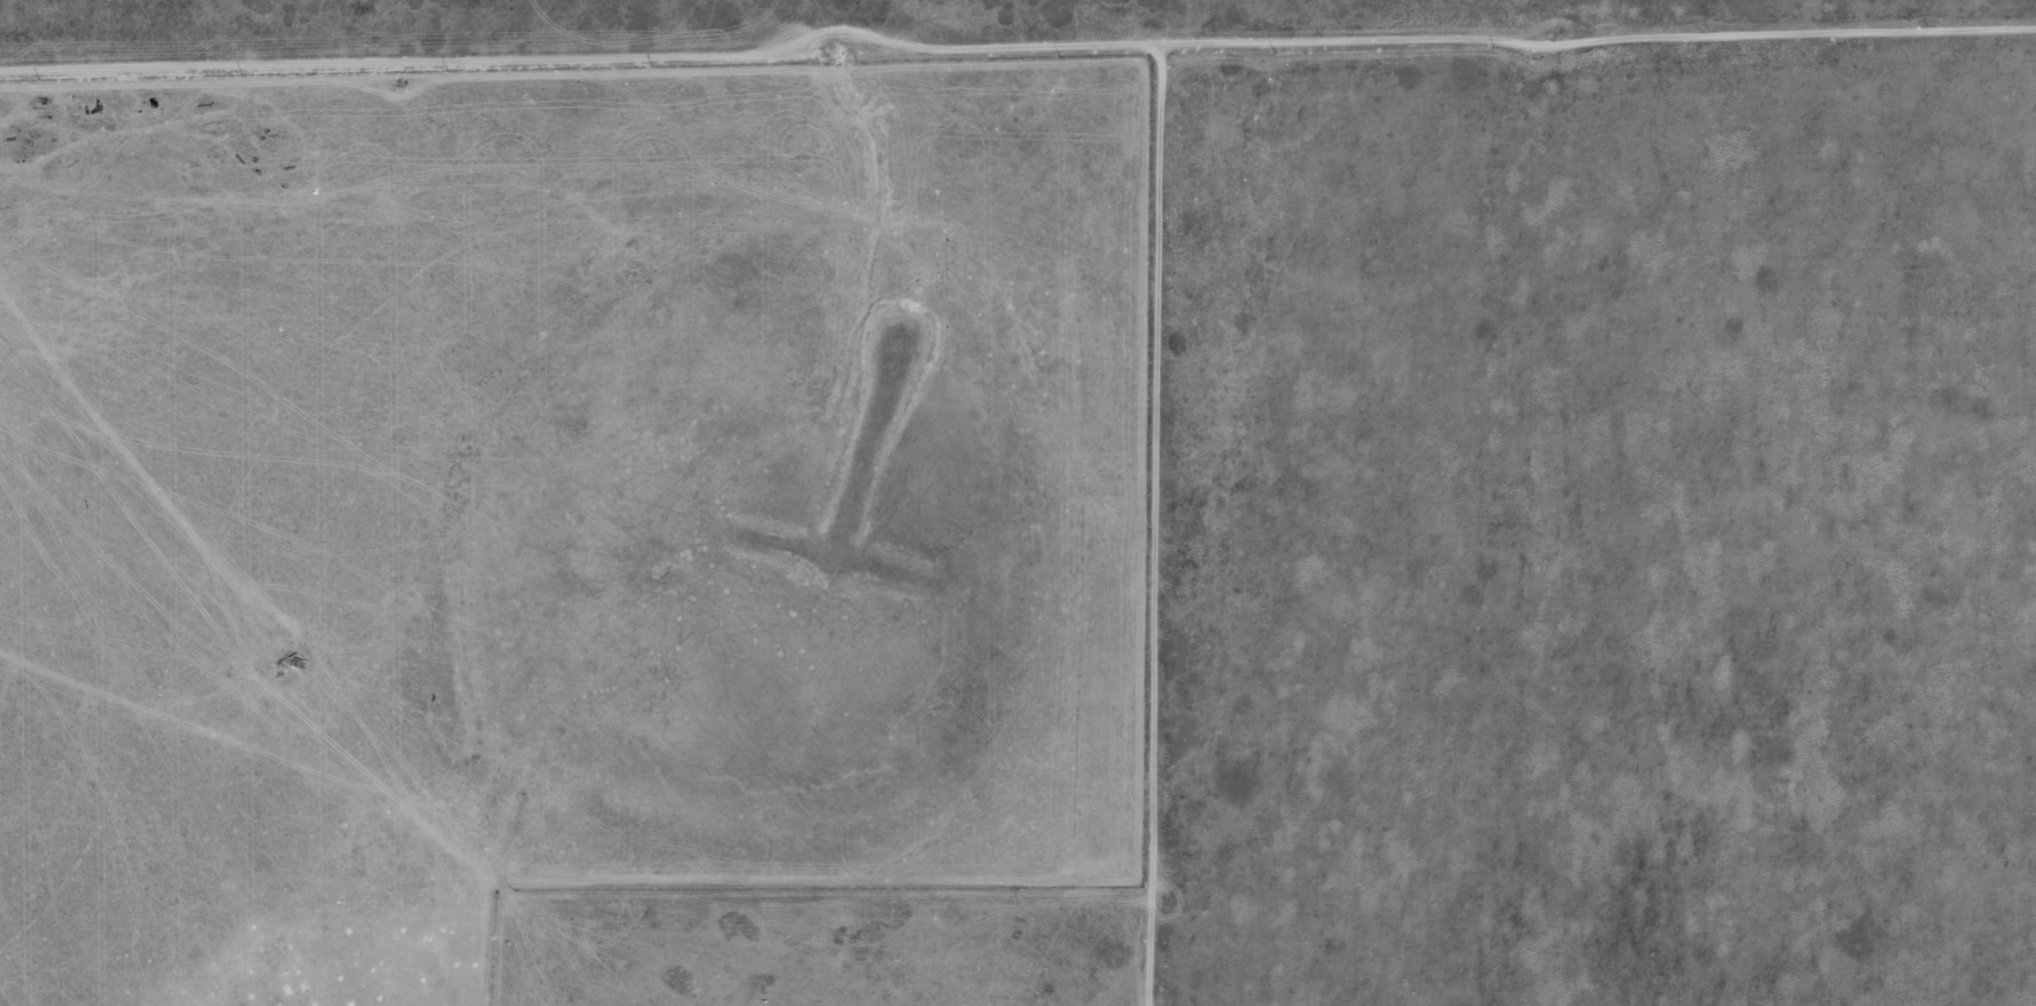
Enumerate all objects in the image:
road: (1018, 49)

